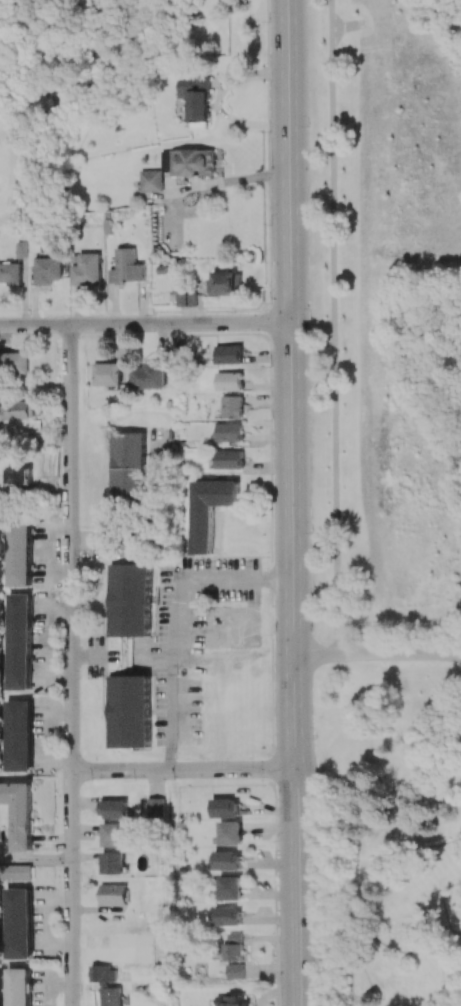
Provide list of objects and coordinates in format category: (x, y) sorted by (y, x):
road: (289, 161)
building: (189, 162)
building: (151, 181)
building: (22, 250)
building: (127, 267)
building: (48, 270)
building: (86, 270)
building: (10, 274)
building: (228, 283)
building: (187, 298)
road: (145, 323)
road: (334, 326)
building: (228, 354)
building: (15, 363)
building: (107, 374)
building: (150, 376)
building: (229, 381)
building: (232, 407)
building: (20, 410)
building: (230, 432)
building: (230, 459)
building: (128, 468)
building: (20, 475)
park: (401, 496)
building: (208, 510)
building: (15, 550)
building: (129, 600)
road: (171, 612)
building: (16, 642)
road: (377, 654)
road: (294, 663)
road: (70, 665)
building: (129, 711)
building: (15, 735)
road: (183, 769)
building: (156, 807)
building: (226, 808)
building: (114, 809)
building: (18, 814)
building: (230, 833)
building: (114, 835)
road: (35, 859)
building: (227, 861)
building: (113, 862)
building: (15, 873)
building: (231, 888)
building: (114, 895)
building: (444, 896)
road: (362, 909)
building: (228, 917)
road: (451, 917)
building: (16, 924)
road: (457, 927)
road: (457, 930)
building: (234, 947)
road: (403, 952)
building: (235, 971)
road: (352, 974)
road: (372, 980)
building: (107, 985)
building: (17, 987)
building: (232, 1000)
road: (353, 1003)

